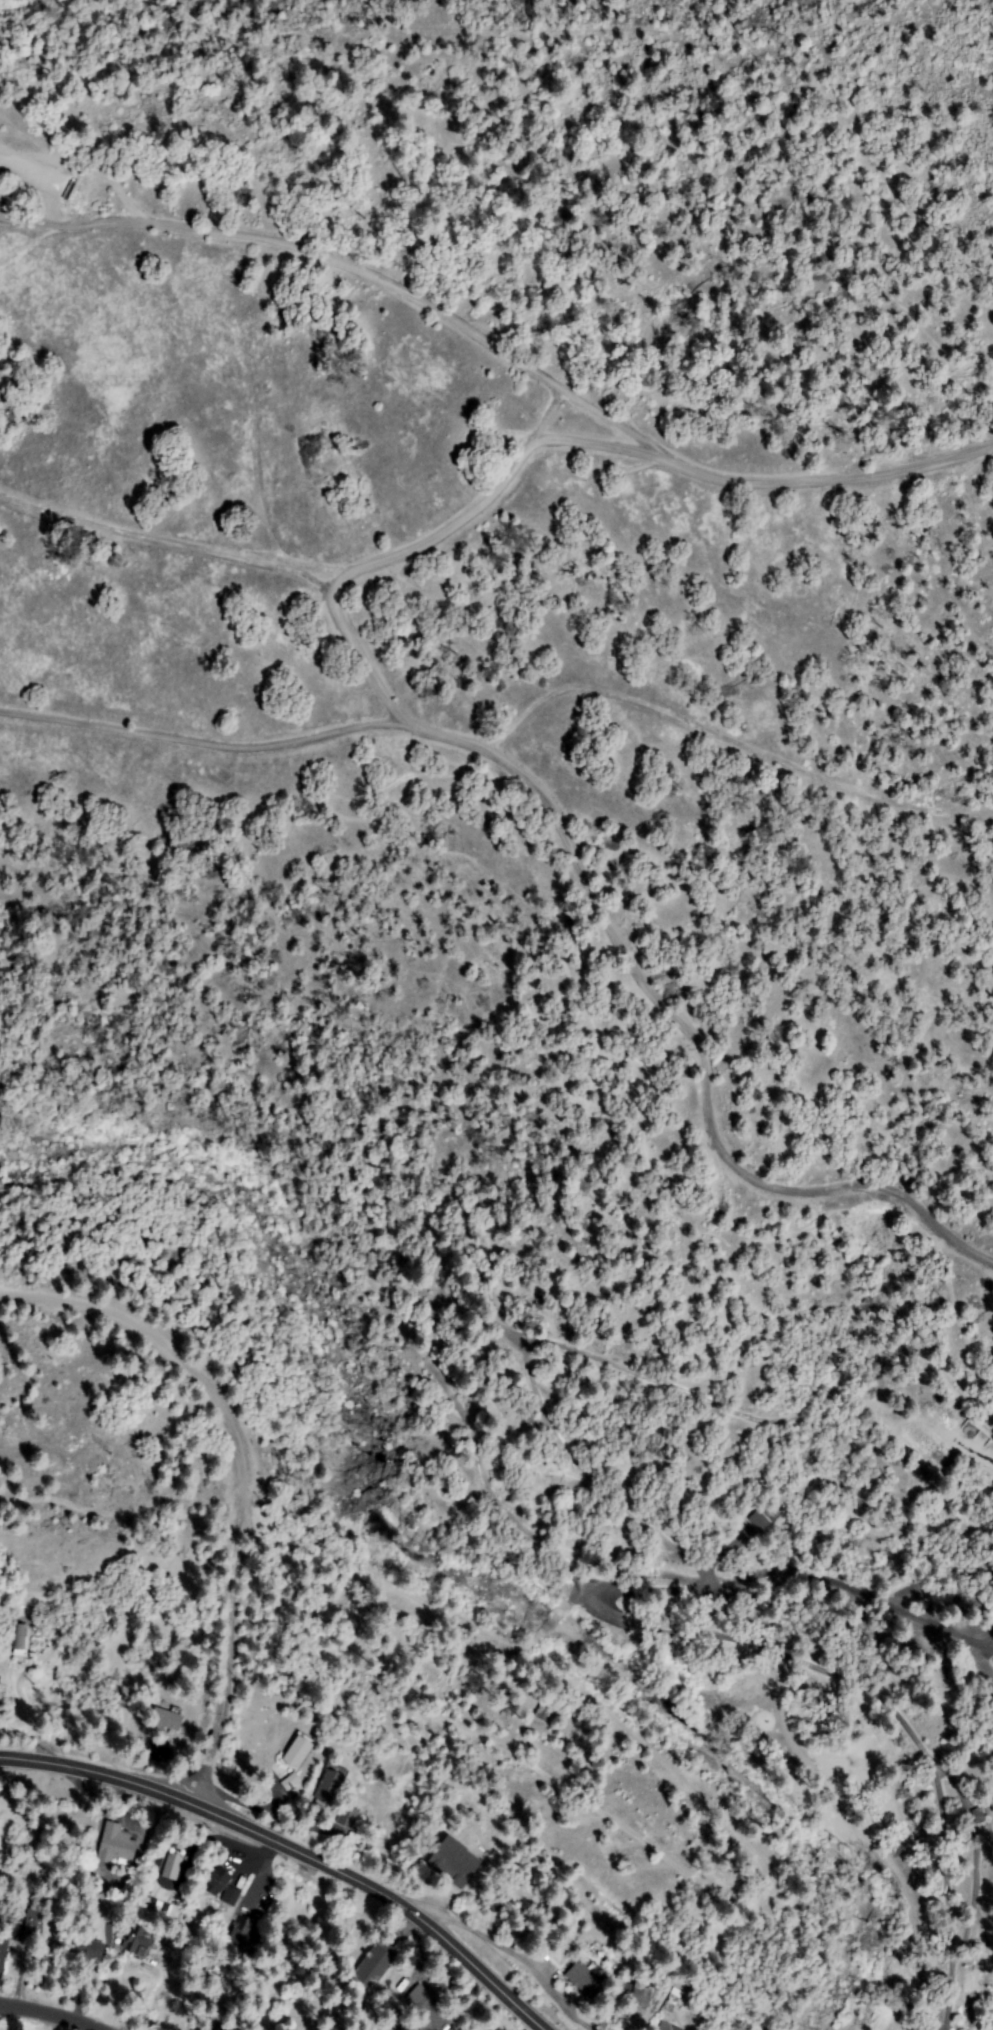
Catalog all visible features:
road: (504, 346)
road: (601, 443)
road: (407, 553)
road: (732, 737)
road: (579, 856)
road: (935, 1080)
road: (237, 1470)
road: (118, 1501)
building: (759, 1520)
building: (20, 1640)
building: (544, 1712)
building: (166, 1720)
building: (298, 1751)
building: (330, 1783)
building: (977, 1815)
building: (349, 1816)
building: (116, 1845)
road: (292, 1850)
building: (453, 1862)
building: (173, 1864)
building: (217, 1881)
building: (231, 1896)
building: (35, 1922)
building: (242, 1933)
building: (137, 1940)
building: (86, 1950)
road: (511, 1953)
building: (374, 1967)
building: (585, 1980)
building: (632, 1993)
building: (429, 2007)
road: (41, 2017)
building: (667, 2024)
building: (224, 2028)
building: (678, 2028)

